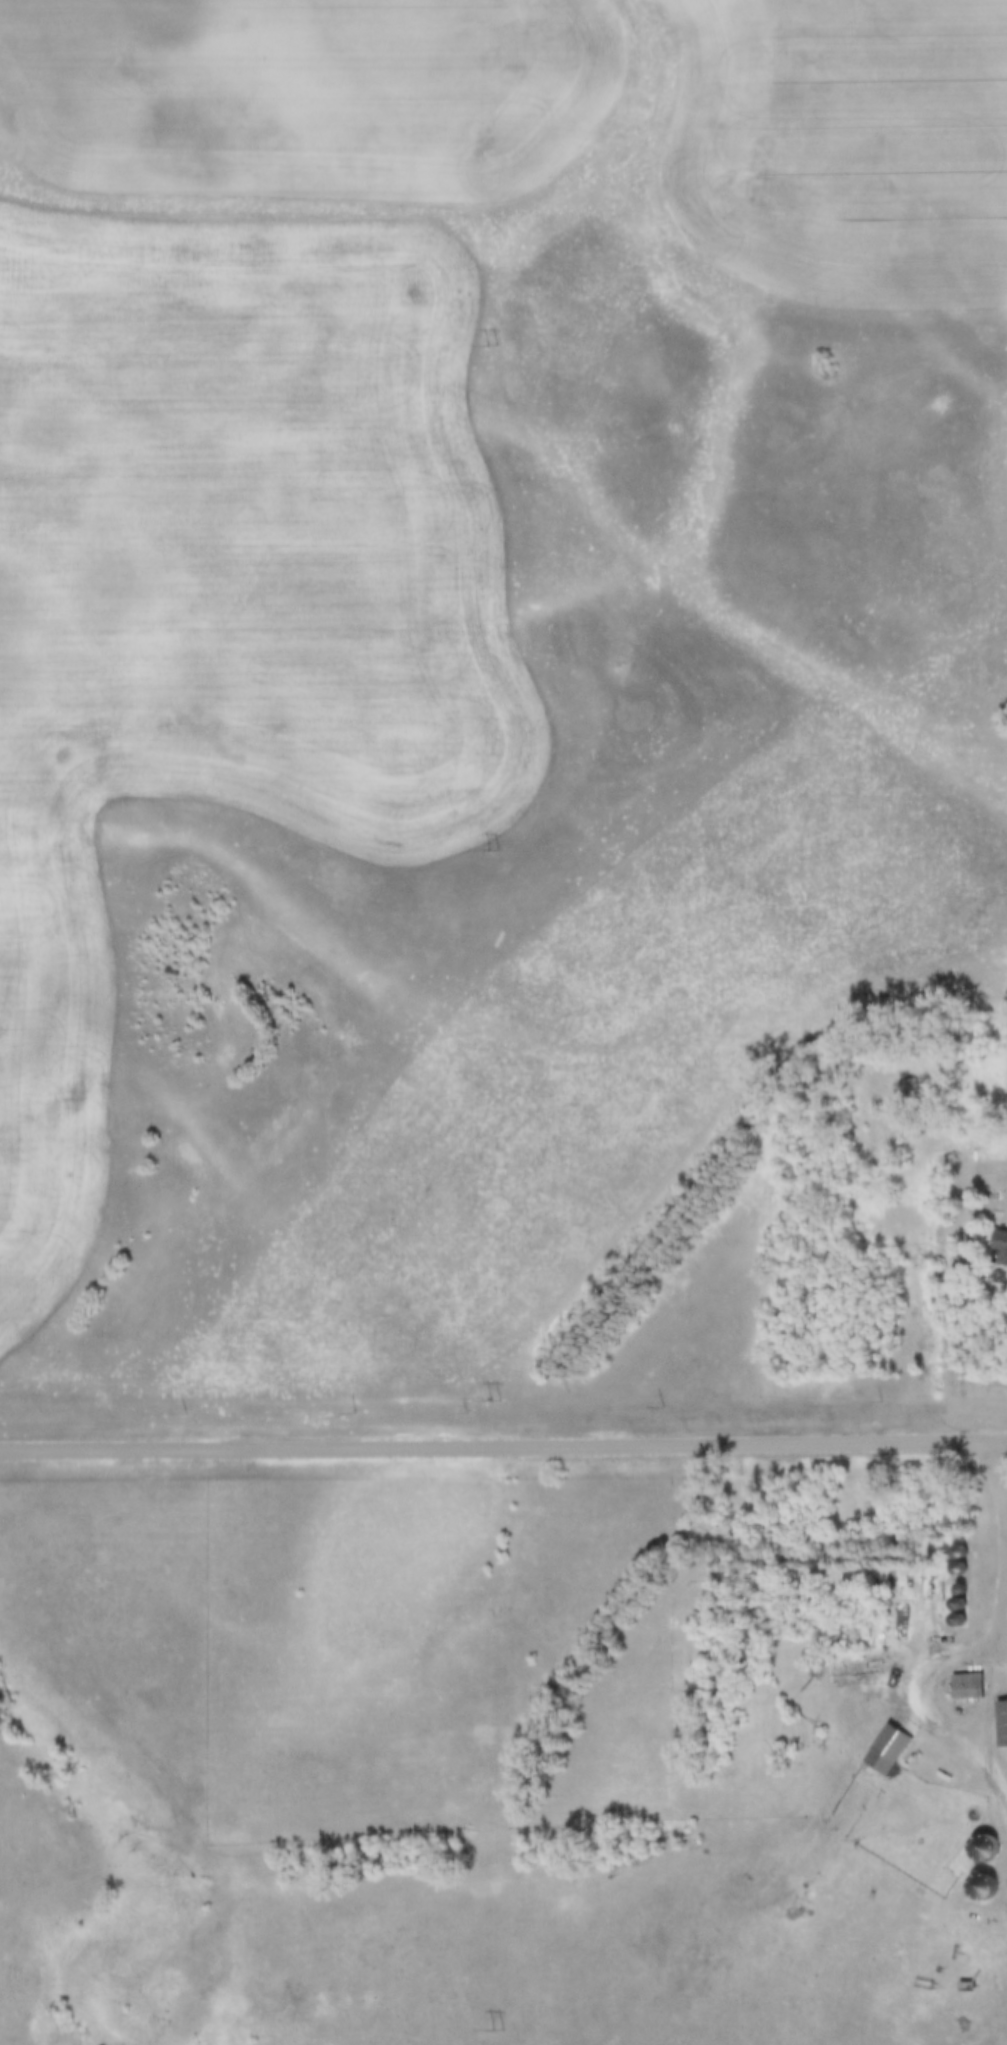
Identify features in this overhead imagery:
power tower: (491, 346)
power tower: (495, 848)
building: (907, 1089)
building: (1001, 1248)
power tower: (495, 1399)
road: (503, 1446)
road: (1001, 1480)
building: (965, 1596)
road: (1005, 1629)
building: (971, 1684)
building: (1004, 1726)
building: (892, 1750)
power tower: (496, 2028)

